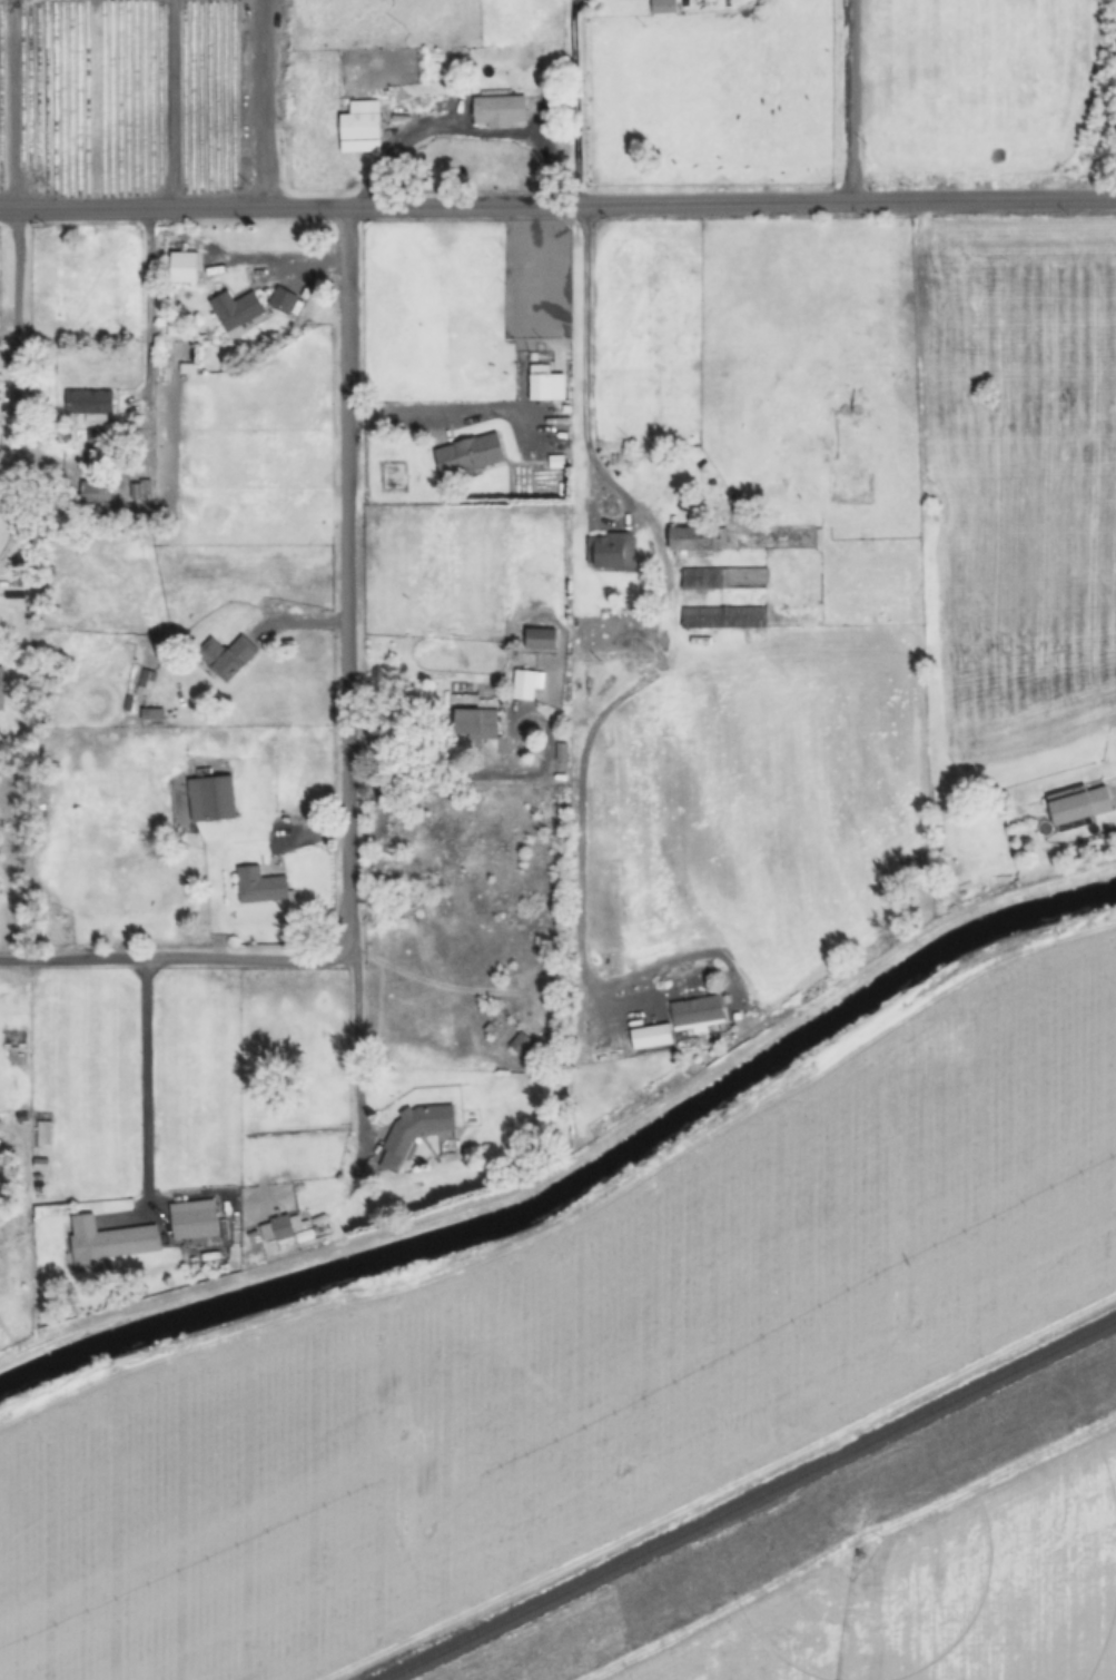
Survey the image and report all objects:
building: (662, 7)
road: (169, 102)
road: (264, 103)
building: (498, 111)
building: (358, 127)
road: (557, 204)
building: (182, 266)
building: (279, 299)
building: (235, 312)
building: (172, 328)
building: (544, 384)
building: (88, 403)
road: (416, 412)
building: (467, 454)
building: (96, 493)
building: (698, 538)
building: (611, 551)
building: (723, 577)
road: (345, 583)
building: (722, 617)
building: (539, 639)
building: (225, 656)
building: (144, 679)
building: (523, 684)
building: (1, 686)
building: (474, 722)
road: (441, 780)
building: (210, 799)
building: (1078, 803)
building: (259, 886)
road: (174, 961)
building: (676, 1021)
building: (504, 1027)
building: (521, 1045)
road: (144, 1085)
building: (412, 1133)
building: (192, 1221)
building: (287, 1231)
building: (107, 1242)
crop: (577, 1355)
railway: (777, 1512)

